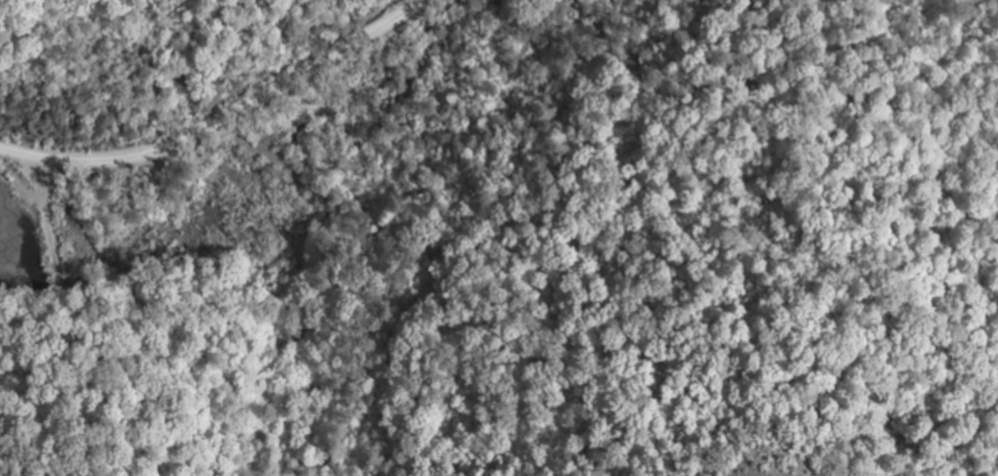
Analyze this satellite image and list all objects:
road: (224, 118)

